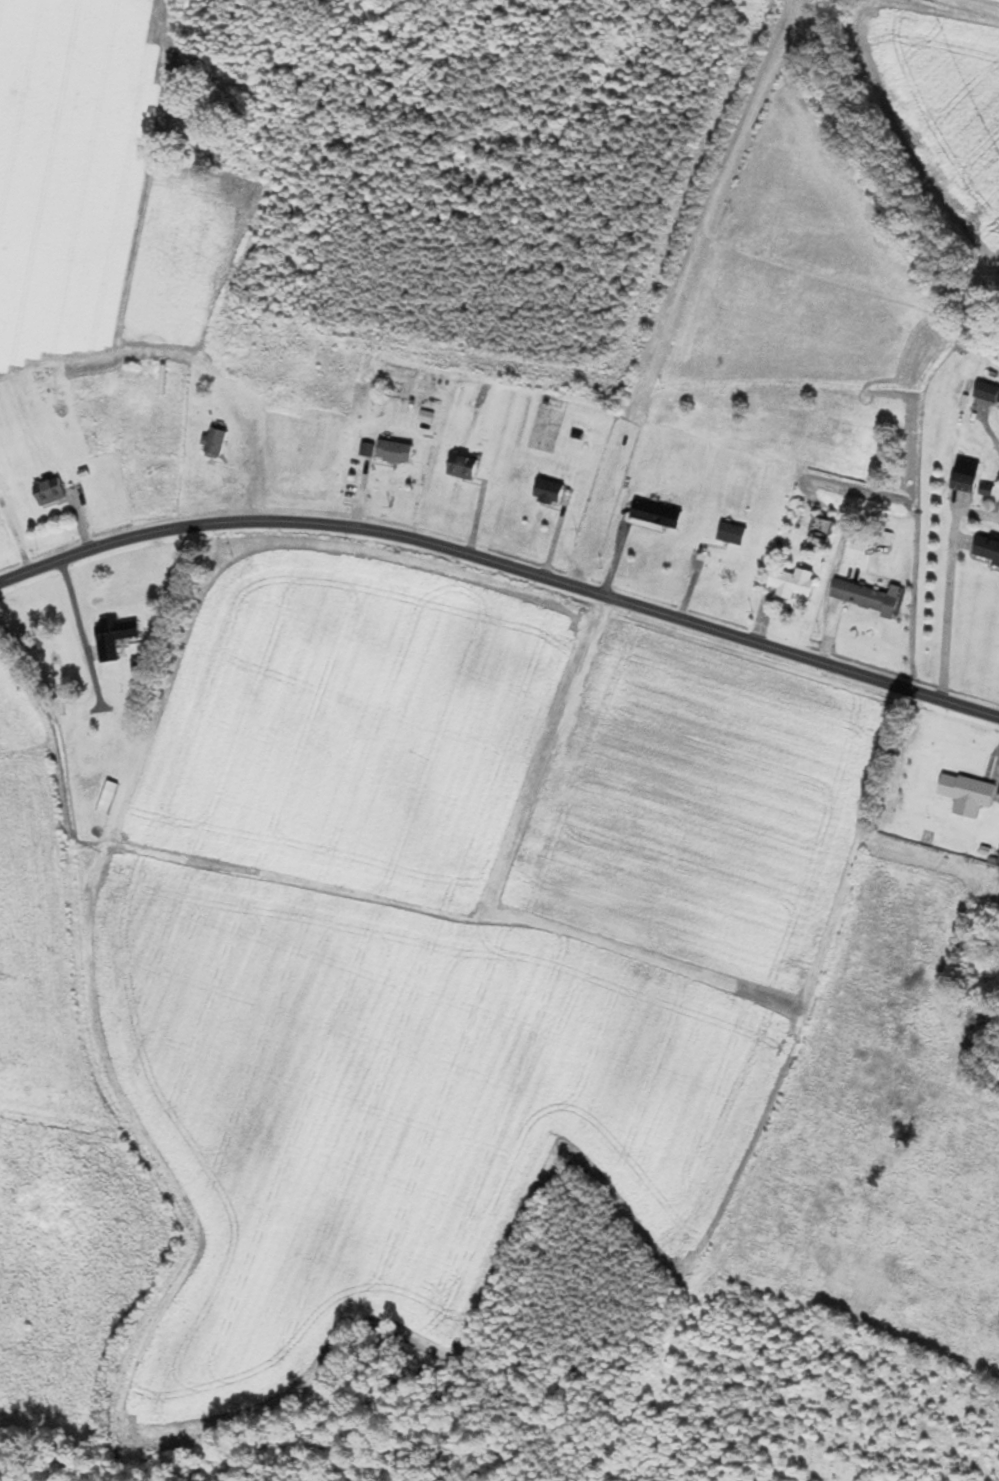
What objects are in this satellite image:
building: (988, 393)
building: (217, 444)
building: (396, 453)
building: (464, 467)
building: (965, 483)
building: (51, 492)
building: (550, 492)
building: (658, 515)
building: (733, 534)
building: (987, 550)
road: (503, 564)
building: (794, 583)
building: (870, 598)
road: (945, 602)
road: (74, 633)
building: (117, 635)
road: (549, 740)
building: (969, 794)
building: (110, 797)

